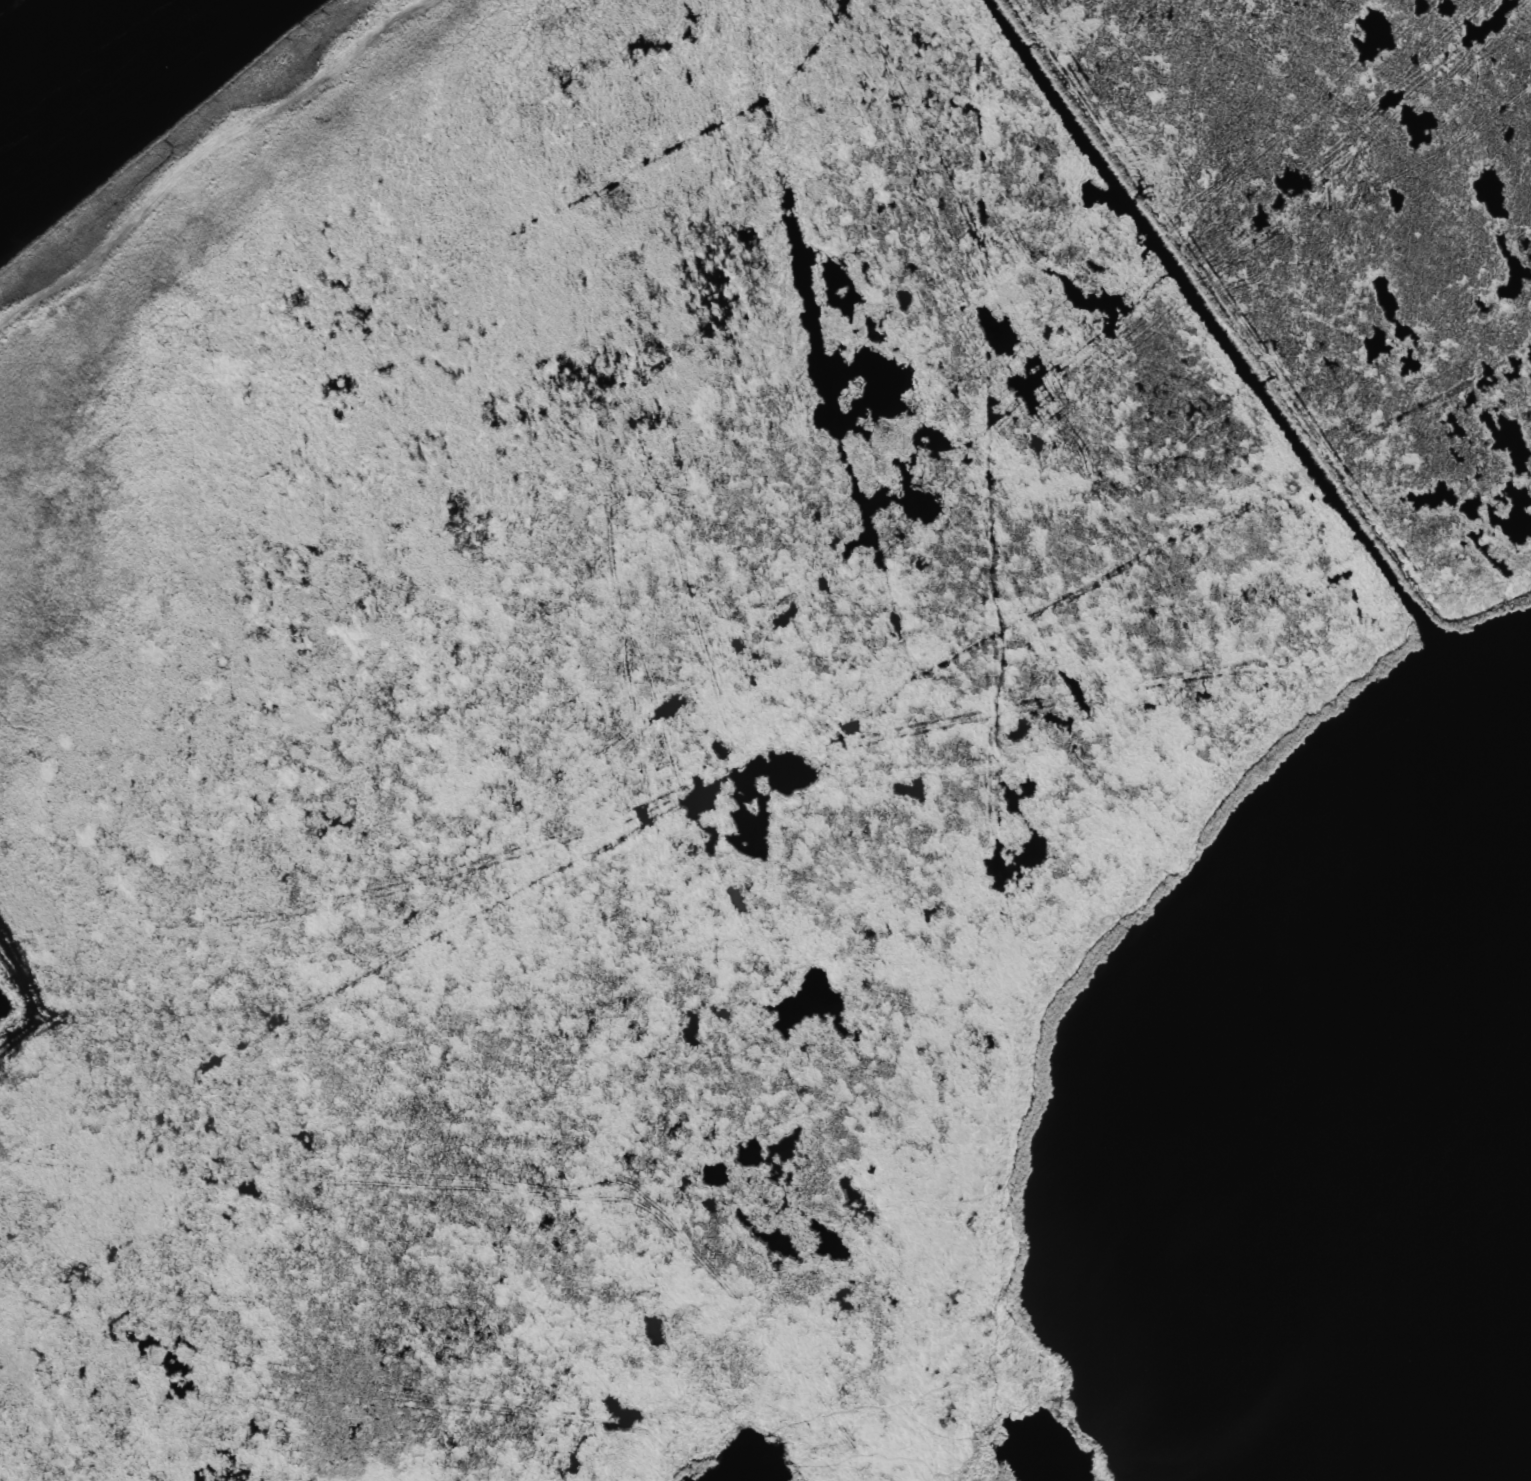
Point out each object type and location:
road: (204, 172)

